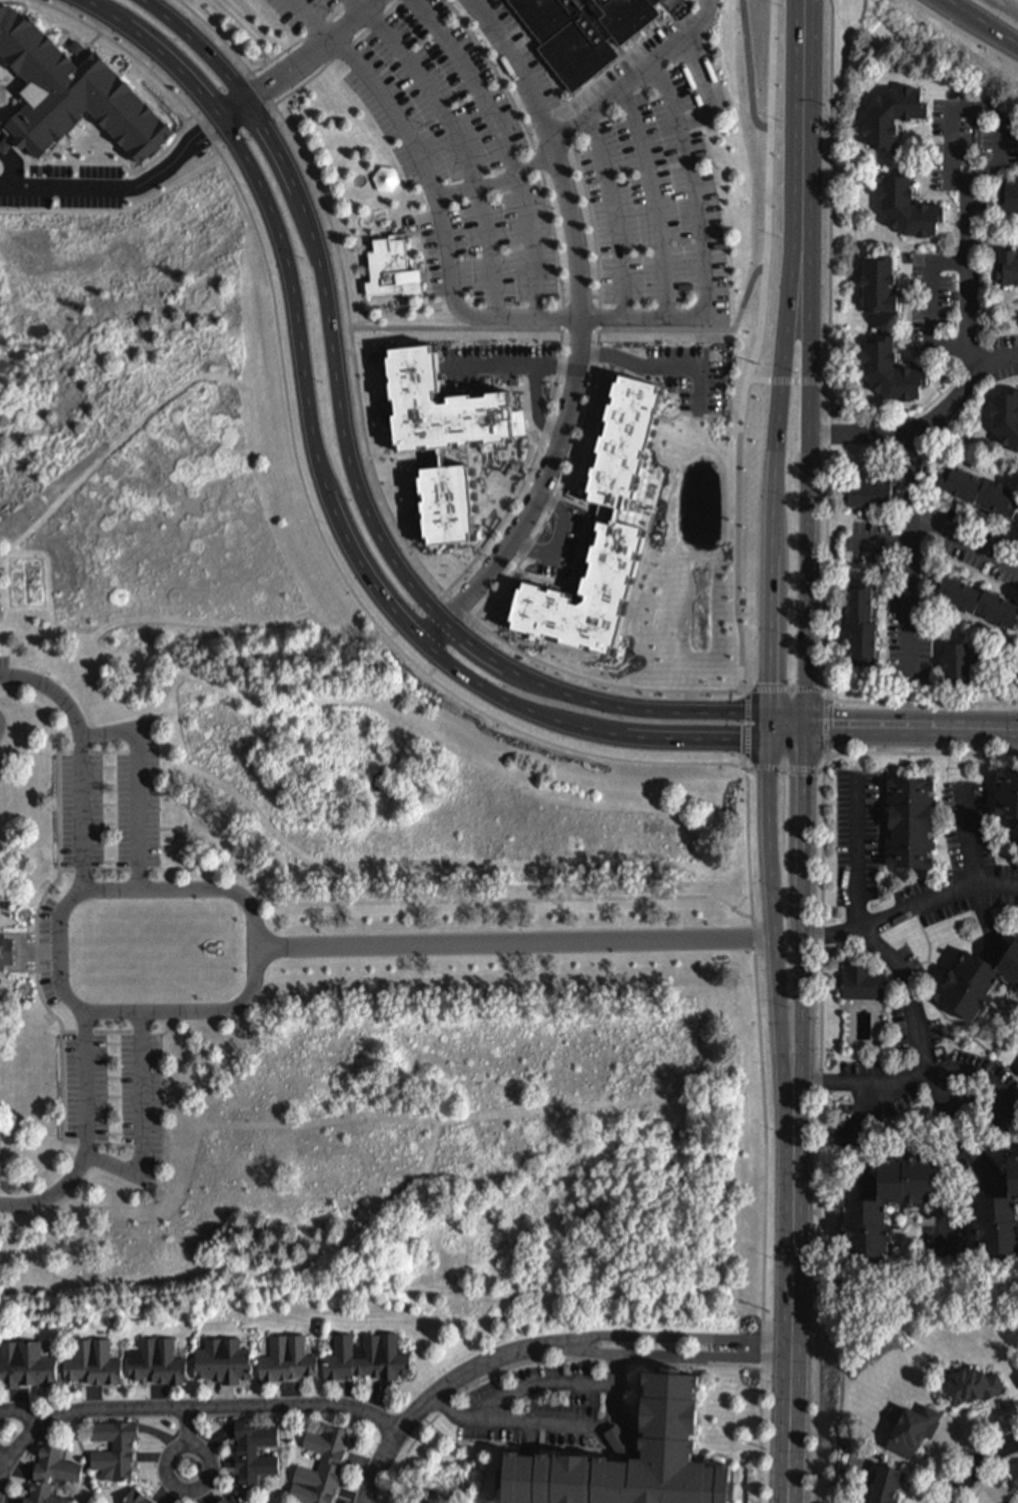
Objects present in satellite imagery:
road: (355, 5)
road: (316, 17)
road: (984, 20)
road: (347, 21)
building: (584, 32)
road: (216, 33)
road: (808, 40)
road: (302, 41)
road: (336, 54)
road: (767, 62)
road: (746, 68)
road: (273, 80)
road: (221, 92)
road: (264, 92)
building: (73, 95)
road: (975, 106)
road: (582, 117)
building: (888, 123)
road: (248, 132)
road: (293, 135)
road: (504, 146)
road: (459, 147)
parking lot: (457, 153)
road: (553, 156)
road: (126, 191)
parking lot: (657, 192)
road: (772, 194)
road: (653, 197)
building: (1009, 205)
road: (611, 213)
building: (905, 214)
road: (440, 221)
road: (703, 244)
road: (425, 258)
building: (391, 271)
building: (1006, 271)
road: (966, 278)
building: (873, 294)
road: (923, 294)
road: (396, 314)
road: (582, 331)
building: (885, 362)
road: (997, 362)
road: (507, 365)
road: (662, 368)
road: (642, 374)
road: (788, 382)
road: (780, 394)
road: (384, 396)
road: (807, 404)
road: (537, 407)
road: (949, 407)
building: (1005, 411)
road: (375, 415)
road: (859, 432)
building: (443, 439)
road: (828, 442)
road: (558, 449)
road: (351, 465)
road: (528, 473)
building: (976, 486)
road: (563, 487)
building: (862, 489)
road: (330, 497)
road: (534, 501)
road: (403, 520)
building: (605, 532)
road: (559, 540)
road: (581, 540)
road: (964, 541)
road: (909, 578)
building: (972, 597)
building: (856, 621)
building: (952, 659)
road: (414, 664)
building: (1017, 667)
parking lot: (4, 671)
road: (563, 672)
building: (1017, 681)
road: (787, 690)
traffic signals: (769, 708)
road: (787, 717)
traffic signals: (805, 727)
road: (827, 727)
road: (911, 728)
road: (748, 730)
traffic signals: (770, 733)
road: (81, 757)
road: (783, 768)
road: (137, 784)
building: (1005, 791)
parking lot: (113, 804)
building: (906, 817)
road: (971, 837)
road: (854, 854)
road: (227, 889)
road: (403, 899)
road: (909, 908)
road: (516, 944)
building: (7, 952)
parking lot: (54, 952)
building: (976, 973)
building: (860, 983)
road: (778, 984)
road: (908, 990)
road: (803, 993)
road: (822, 1035)
road: (858, 1082)
road: (968, 1088)
parking lot: (117, 1096)
road: (142, 1118)
road: (87, 1133)
building: (1, 1143)
road: (981, 1160)
building: (861, 1208)
building: (998, 1215)
road: (675, 1337)
road: (675, 1354)
building: (287, 1355)
building: (366, 1358)
road: (763, 1360)
building: (221, 1361)
building: (27, 1363)
building: (93, 1363)
building: (158, 1363)
road: (790, 1381)
building: (973, 1387)
road: (436, 1393)
parking lot: (537, 1406)
road: (185, 1407)
road: (21, 1413)
road: (552, 1423)
road: (189, 1426)
building: (914, 1431)
building: (120, 1445)
road: (965, 1451)
building: (253, 1454)
road: (5, 1456)
building: (623, 1462)
road: (976, 1464)
building: (316, 1466)
building: (58, 1475)
road: (991, 1477)
road: (171, 1480)
building: (885, 1487)
building: (235, 1498)
building: (134, 1499)
building: (240, 1499)
building: (218, 1502)

